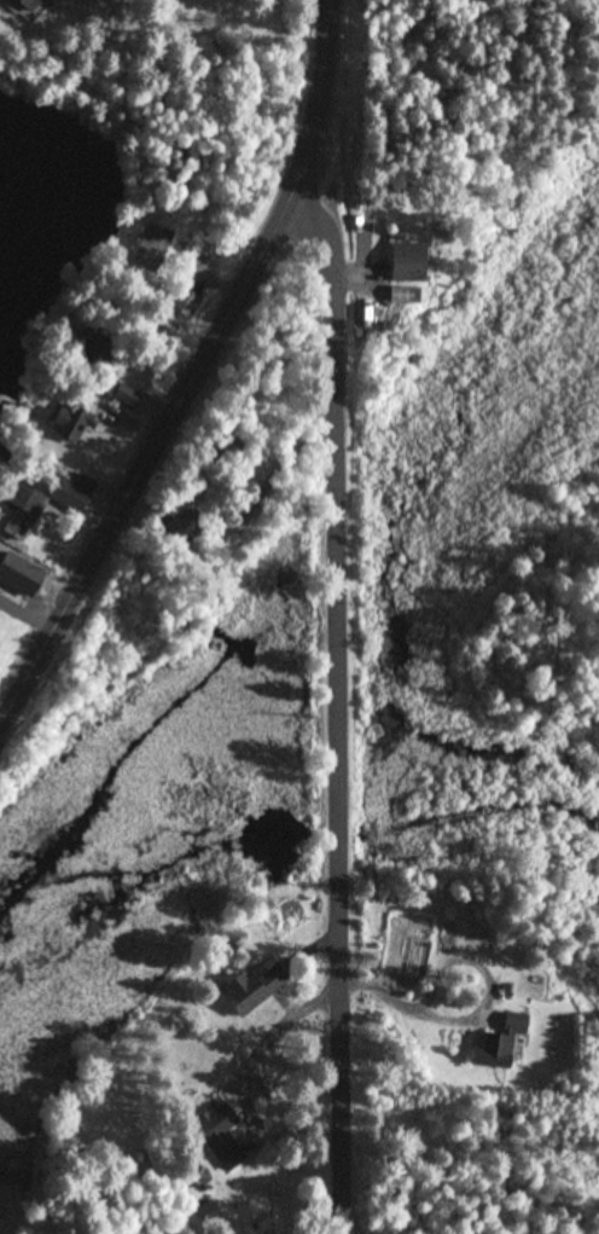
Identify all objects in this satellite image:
building: (28, 6)
road: (136, 34)
building: (150, 249)
building: (403, 263)
building: (395, 295)
building: (181, 303)
building: (97, 352)
road: (197, 372)
building: (123, 396)
building: (70, 424)
building: (70, 493)
building: (22, 499)
building: (175, 528)
road: (338, 708)
building: (249, 989)
building: (494, 1043)
building: (217, 1135)
building: (155, 1169)

